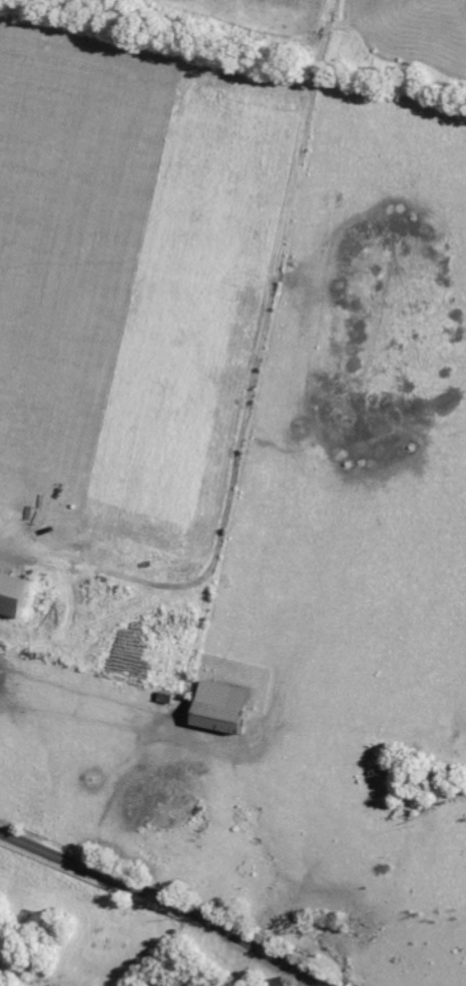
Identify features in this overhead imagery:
building: (12, 594)
building: (220, 718)
road: (163, 900)

